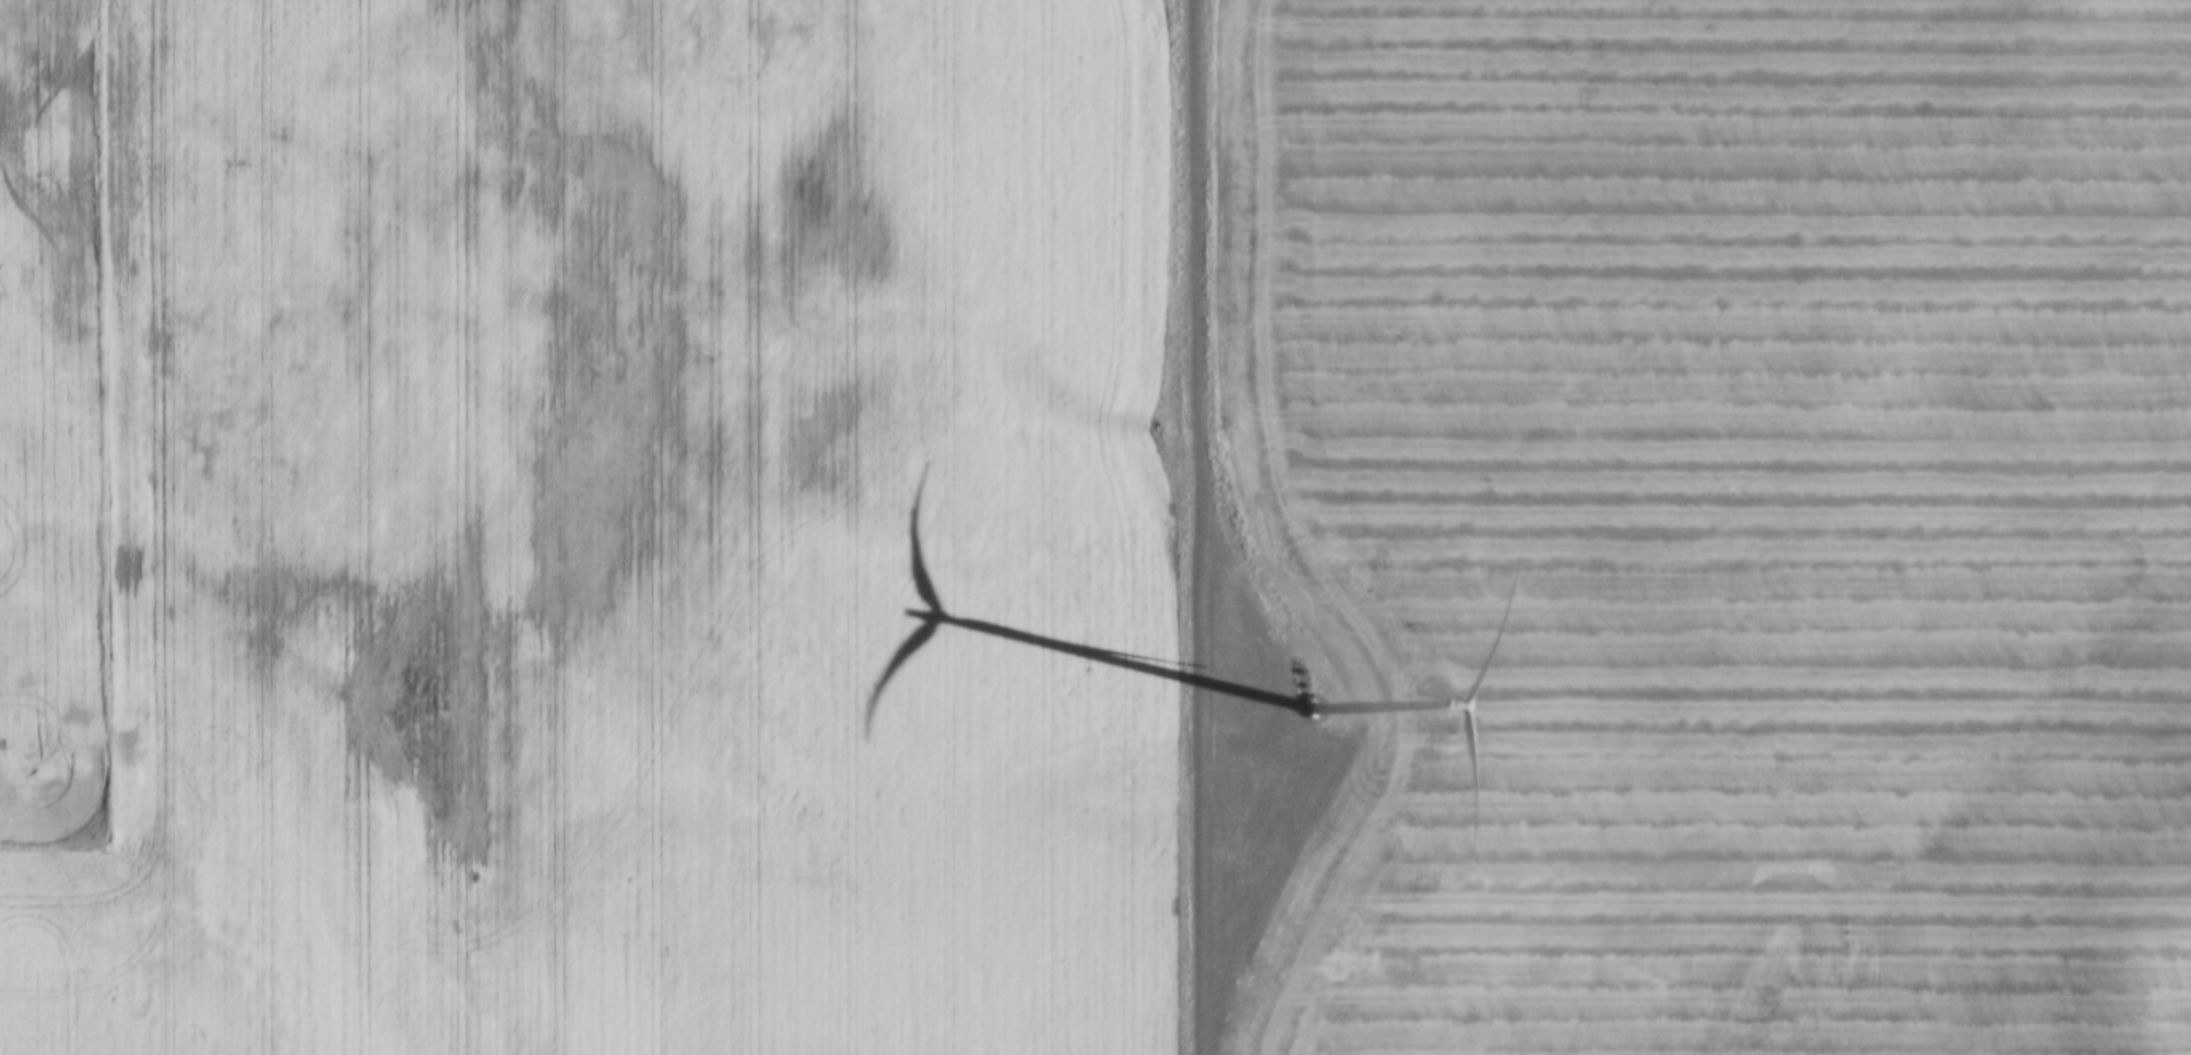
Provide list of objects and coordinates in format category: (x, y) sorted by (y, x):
wind turbine: (1294, 716)

